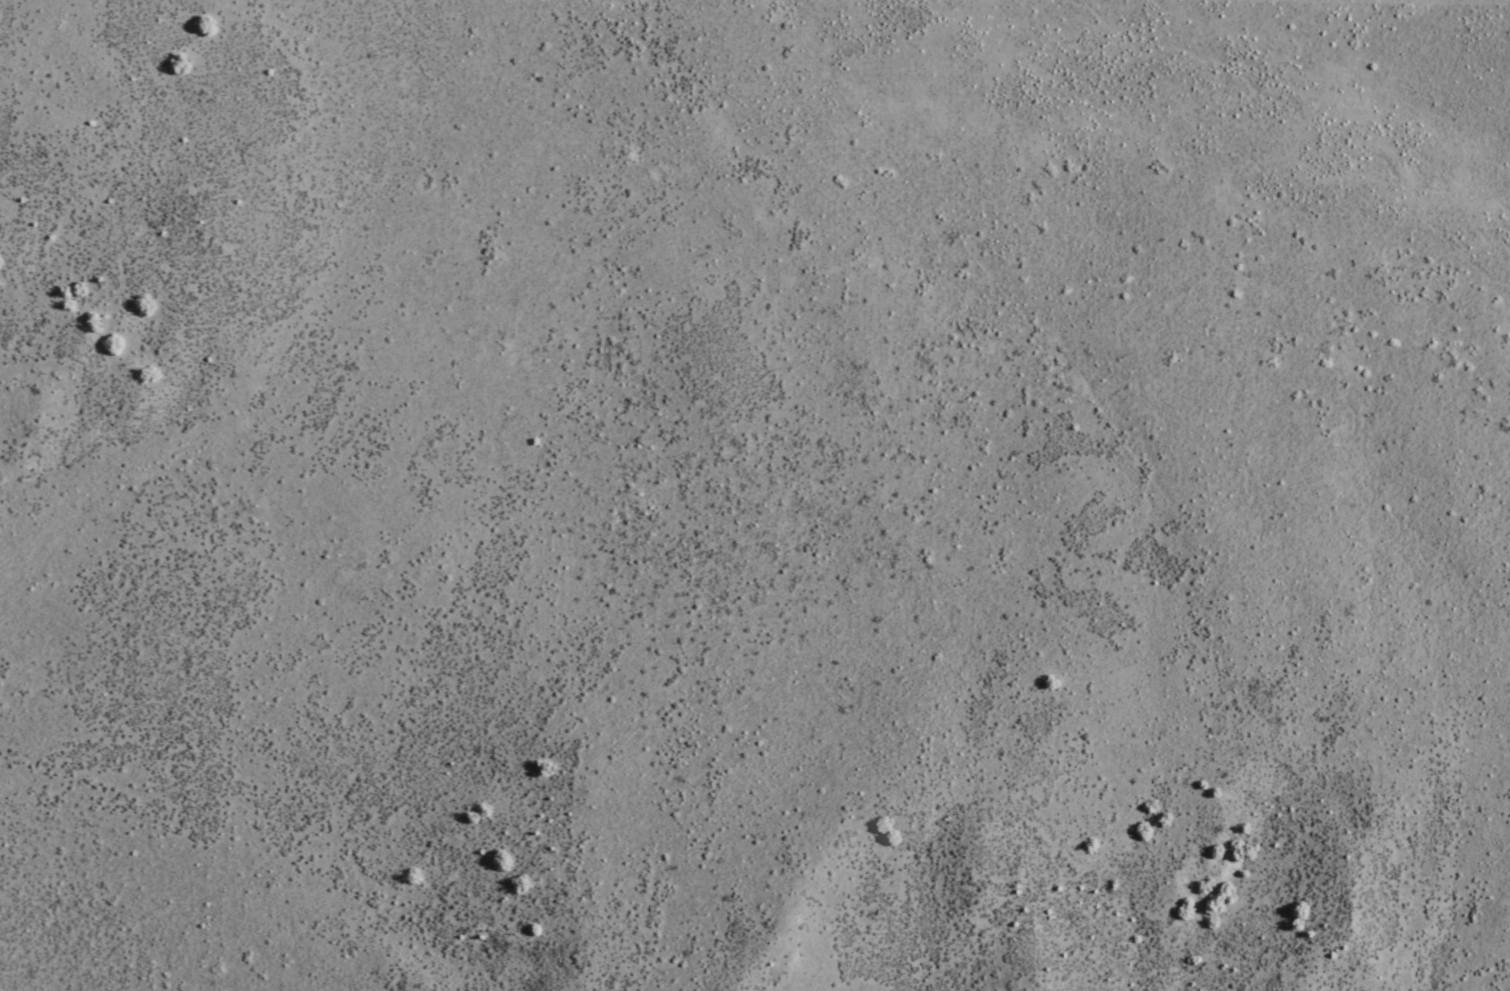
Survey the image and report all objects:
crop: (1276, 59)

